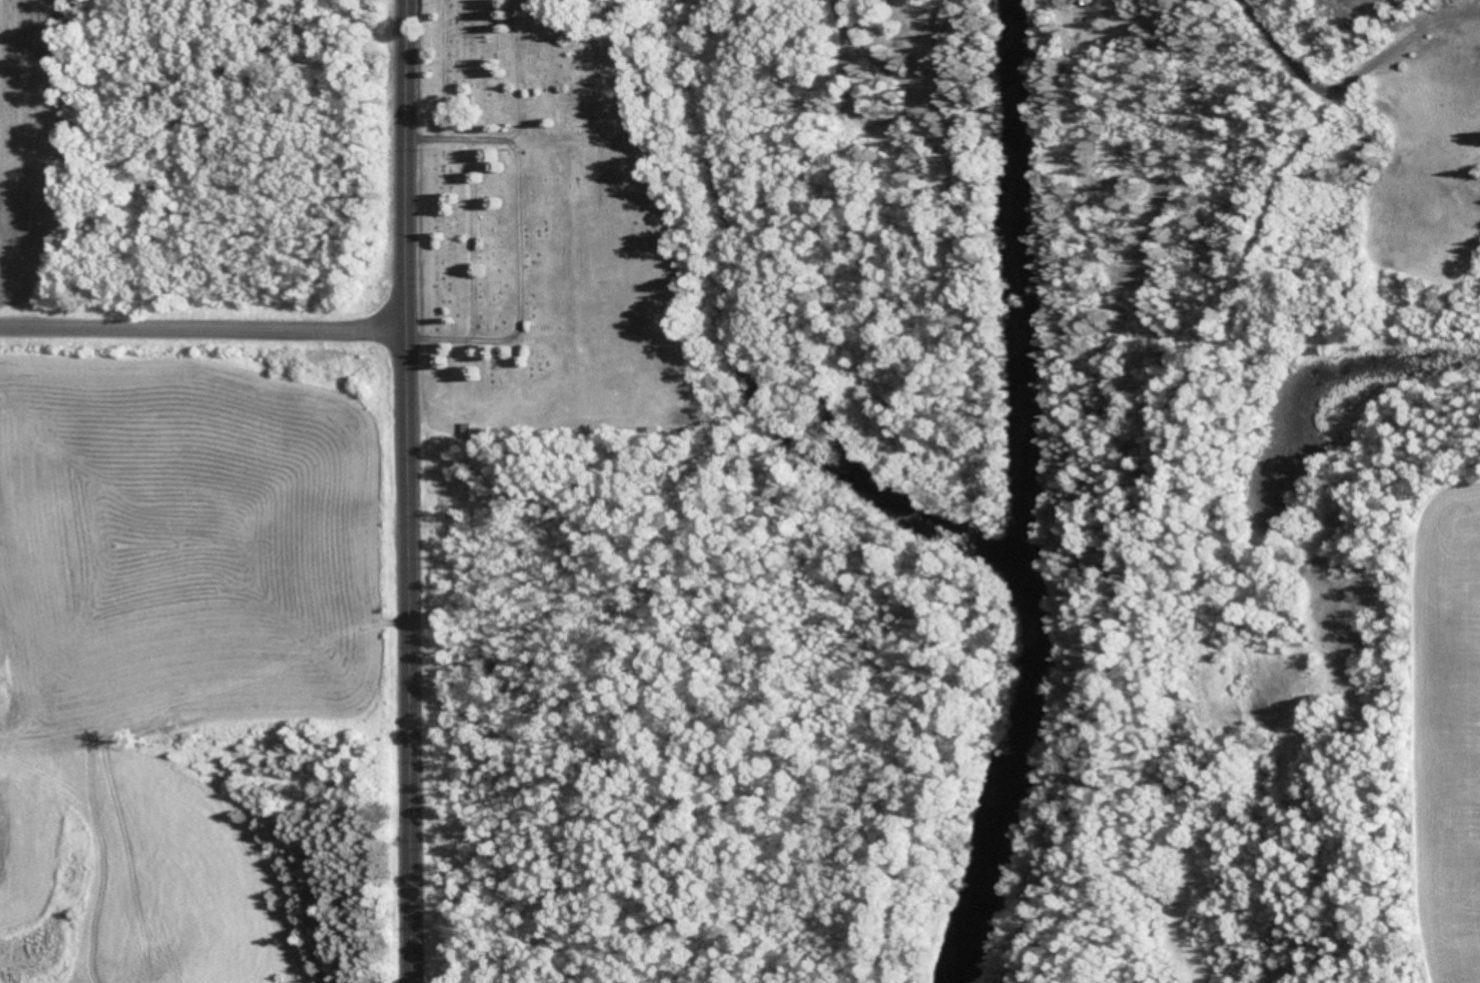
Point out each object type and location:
road: (1315, 38)
park: (571, 248)
road: (1245, 317)
road: (202, 327)
road: (405, 491)
river: (1023, 497)

